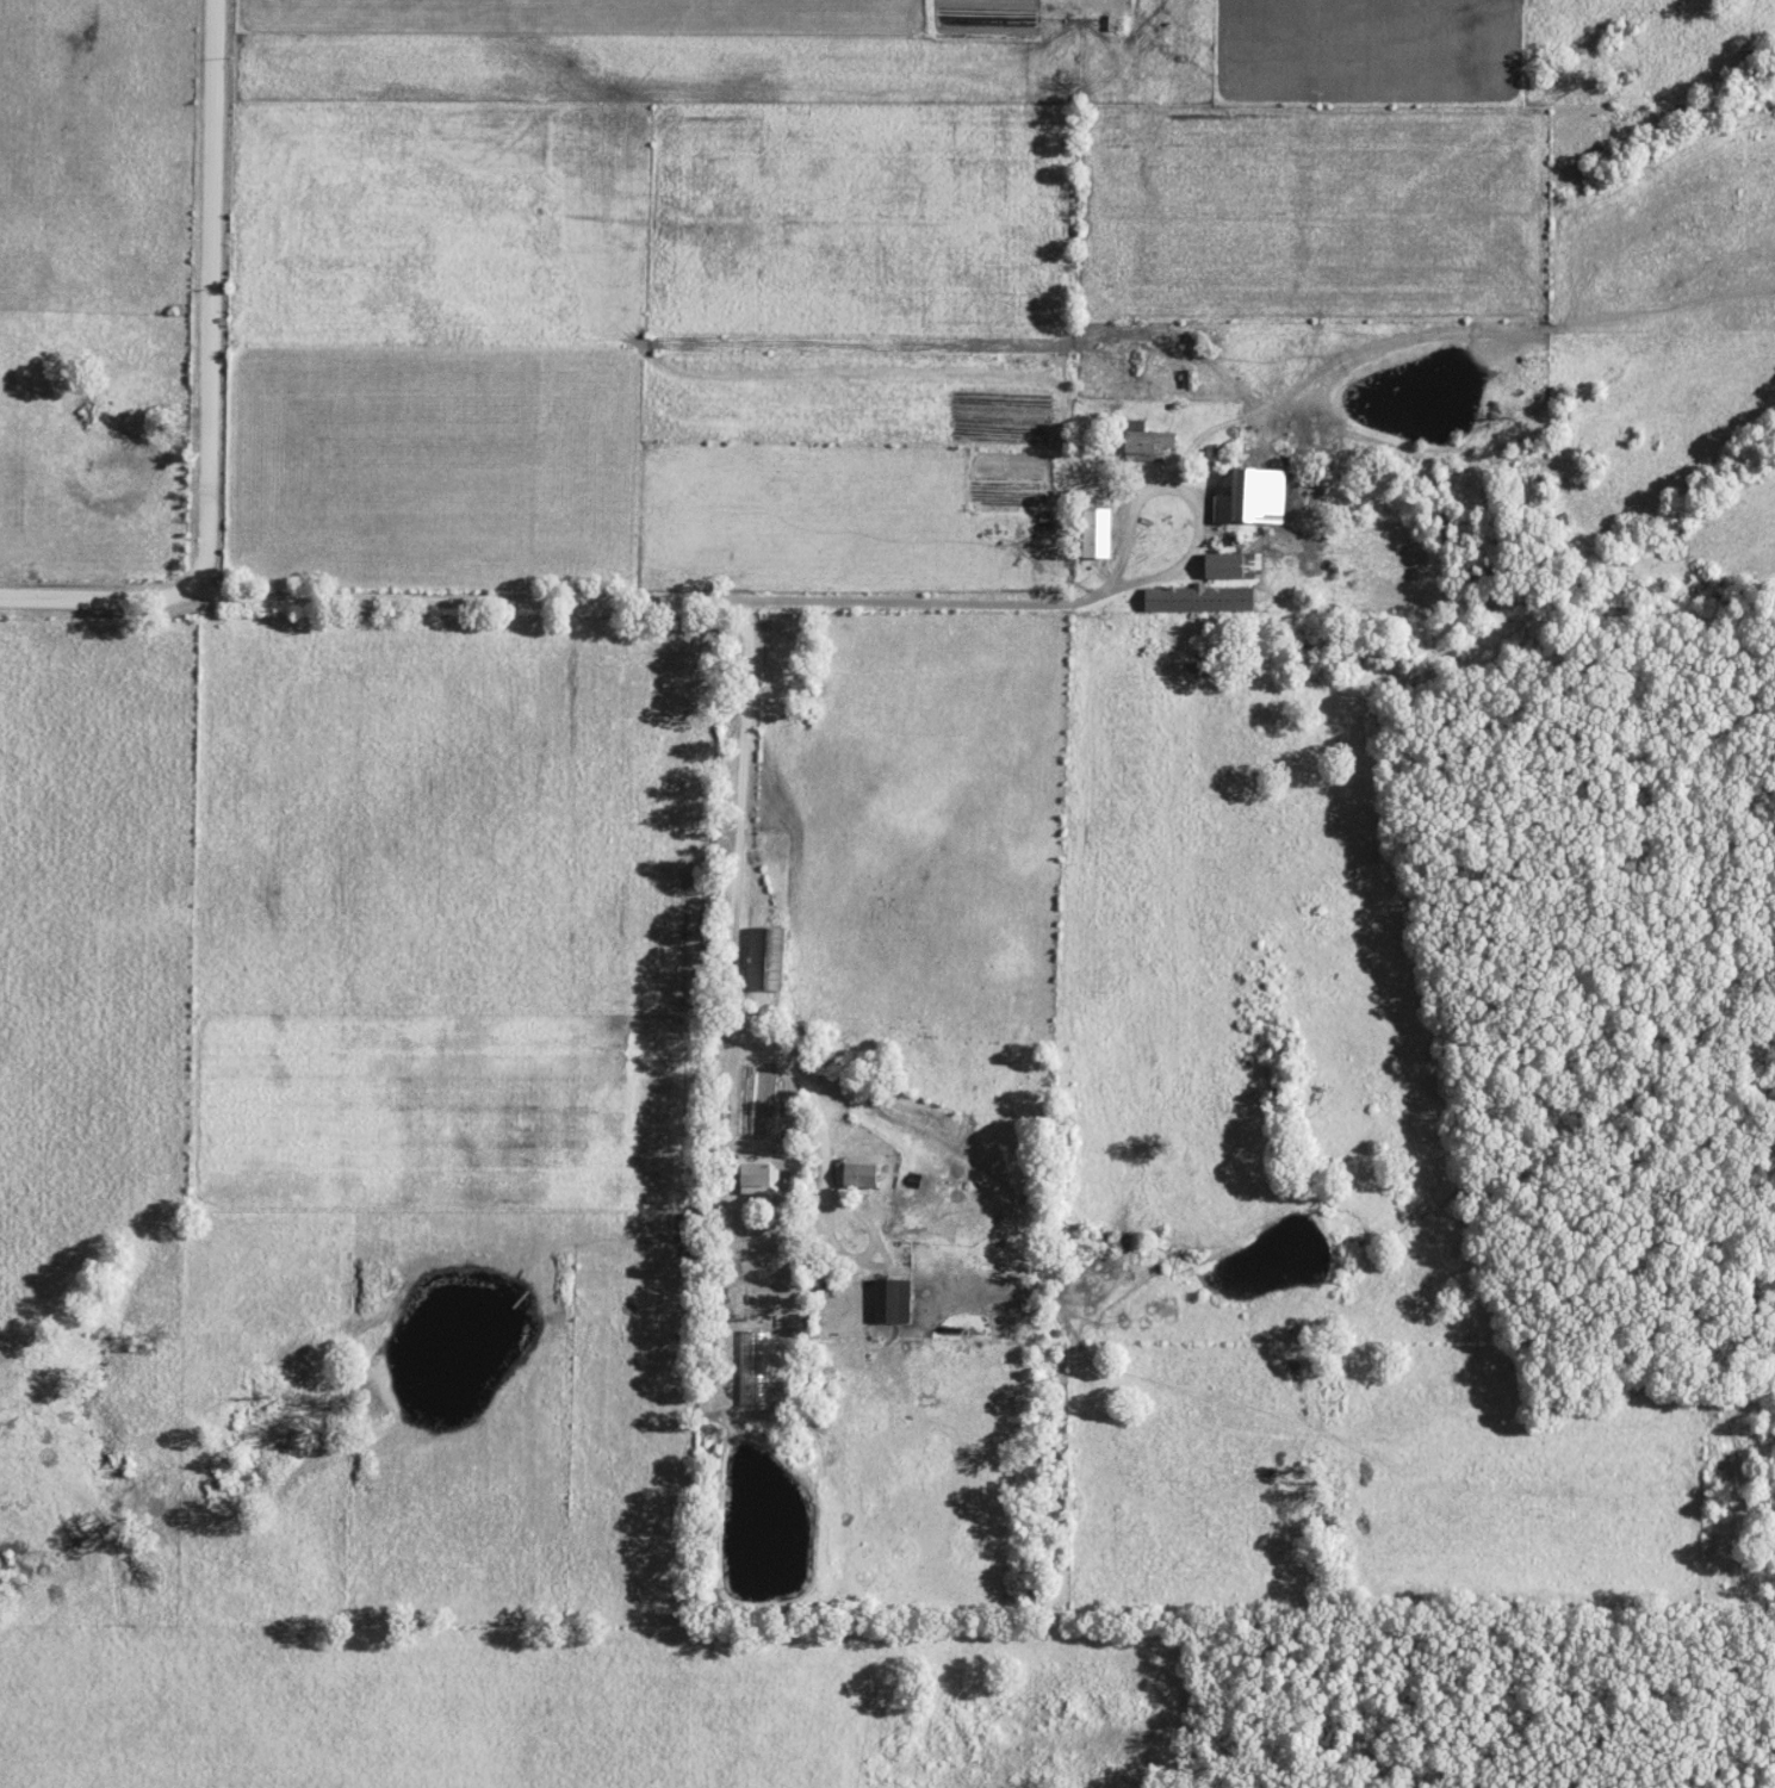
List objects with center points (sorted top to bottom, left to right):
road: (218, 297)
building: (1149, 440)
building: (1255, 498)
road: (1194, 521)
building: (1235, 566)
road: (106, 592)
road: (666, 600)
building: (1202, 600)
road: (740, 952)
building: (768, 960)
building: (763, 1174)
building: (858, 1175)
building: (894, 1303)

